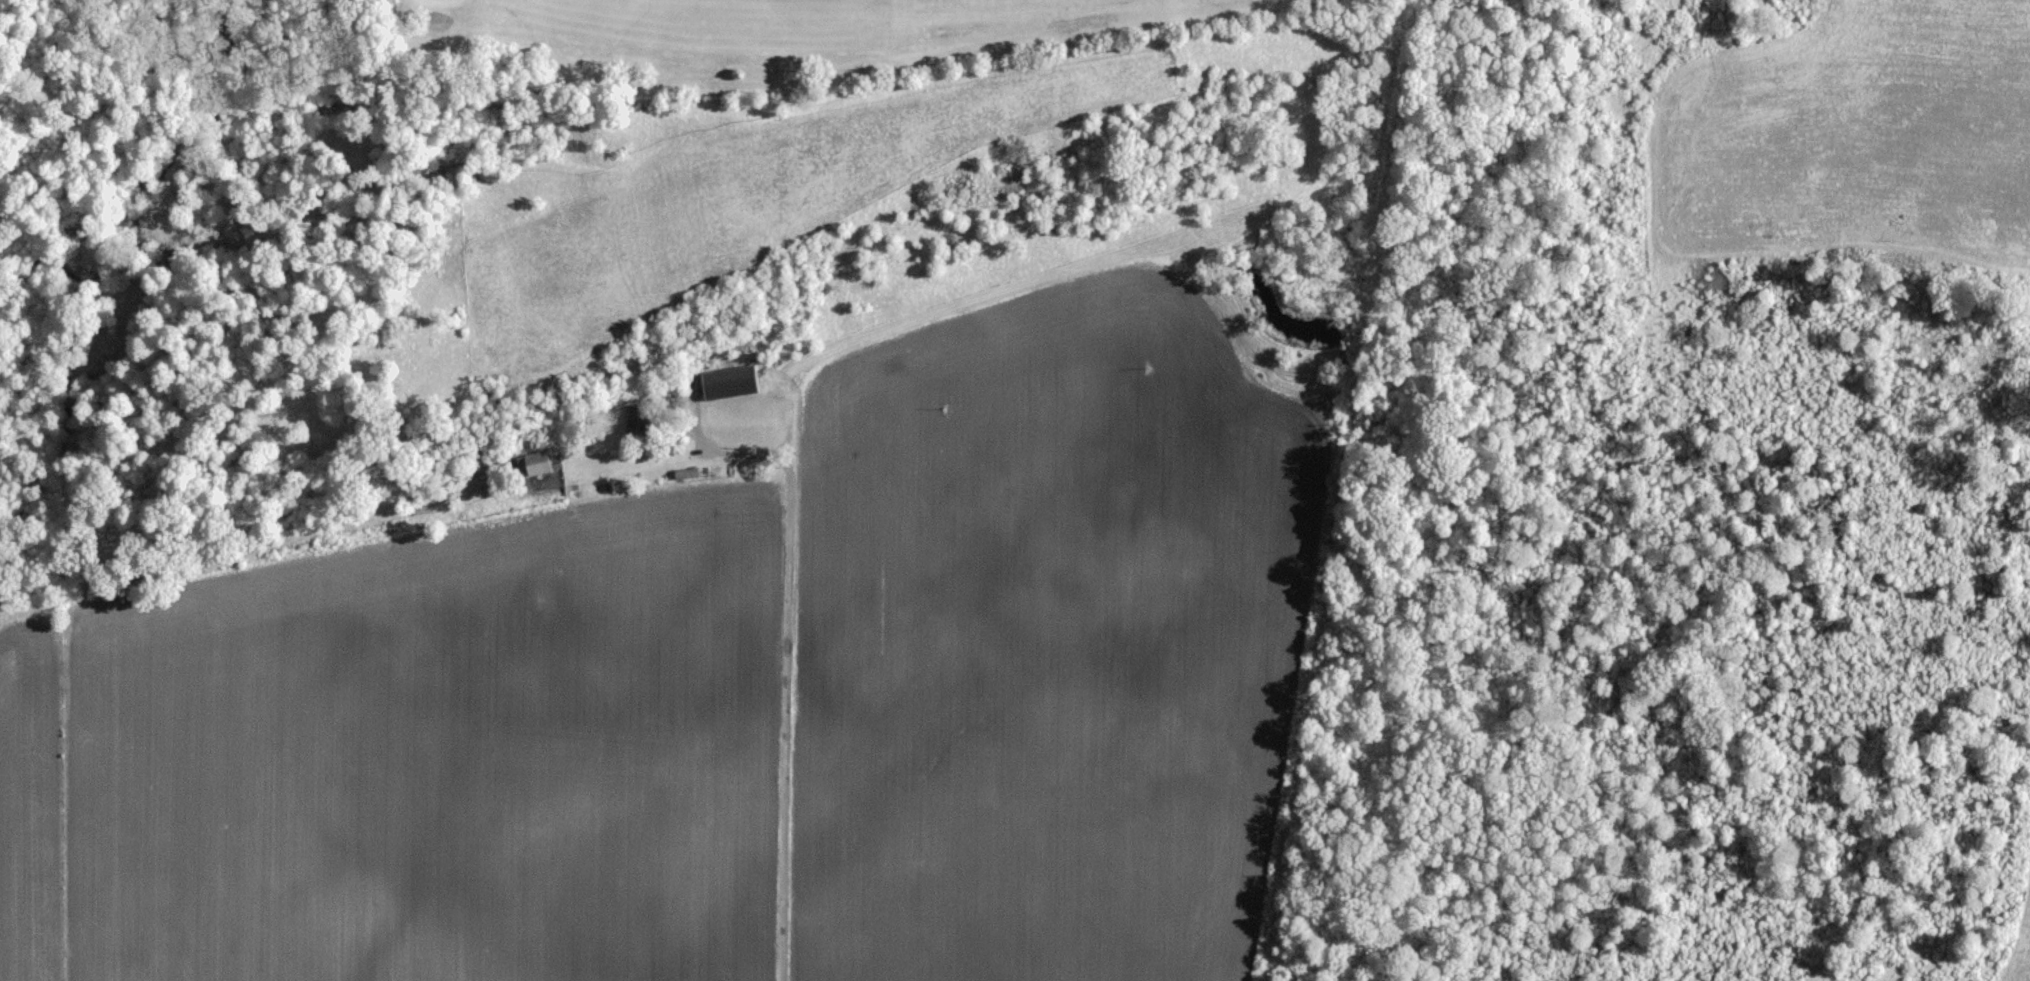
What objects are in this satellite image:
park: (744, 28)
building: (724, 381)
road: (786, 657)

